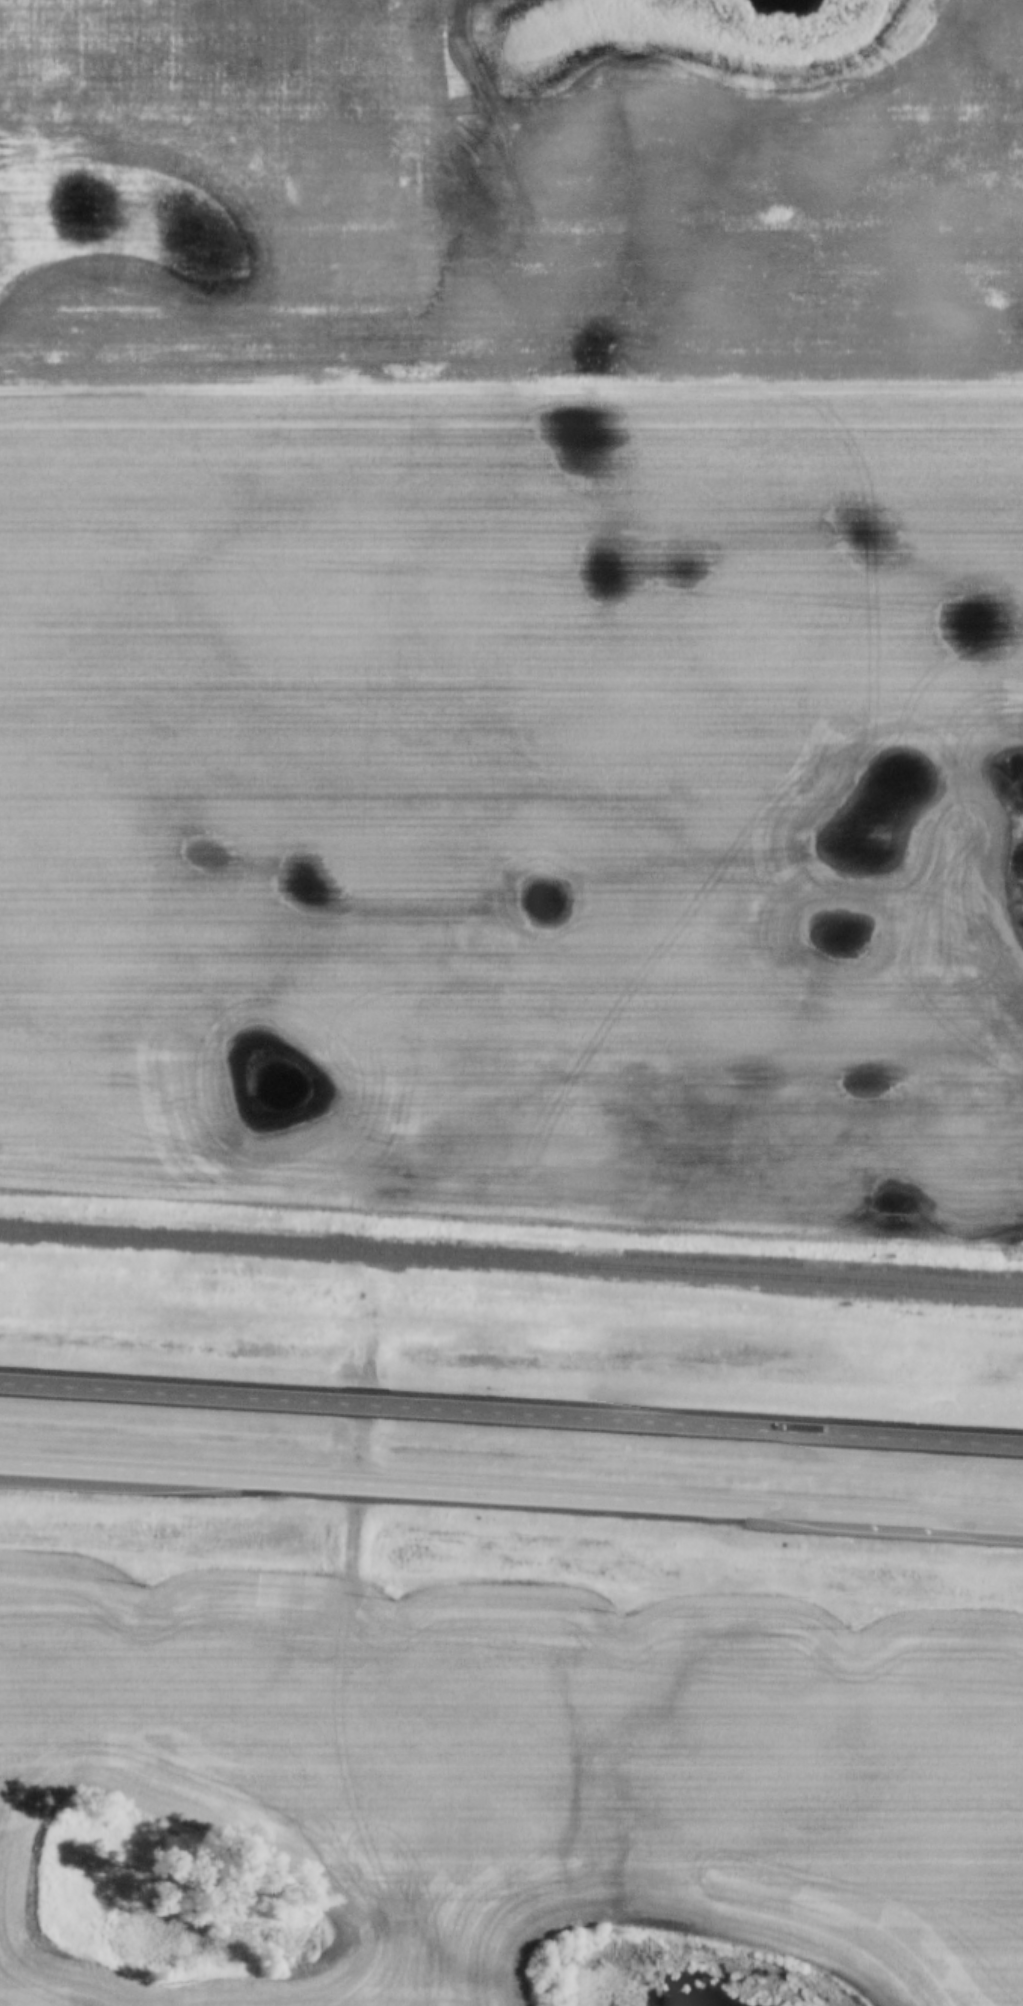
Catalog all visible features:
road: (511, 390)
railway: (511, 1260)
road: (366, 1346)
road: (511, 1412)
road: (357, 1443)
road: (511, 1493)
road: (349, 1542)

